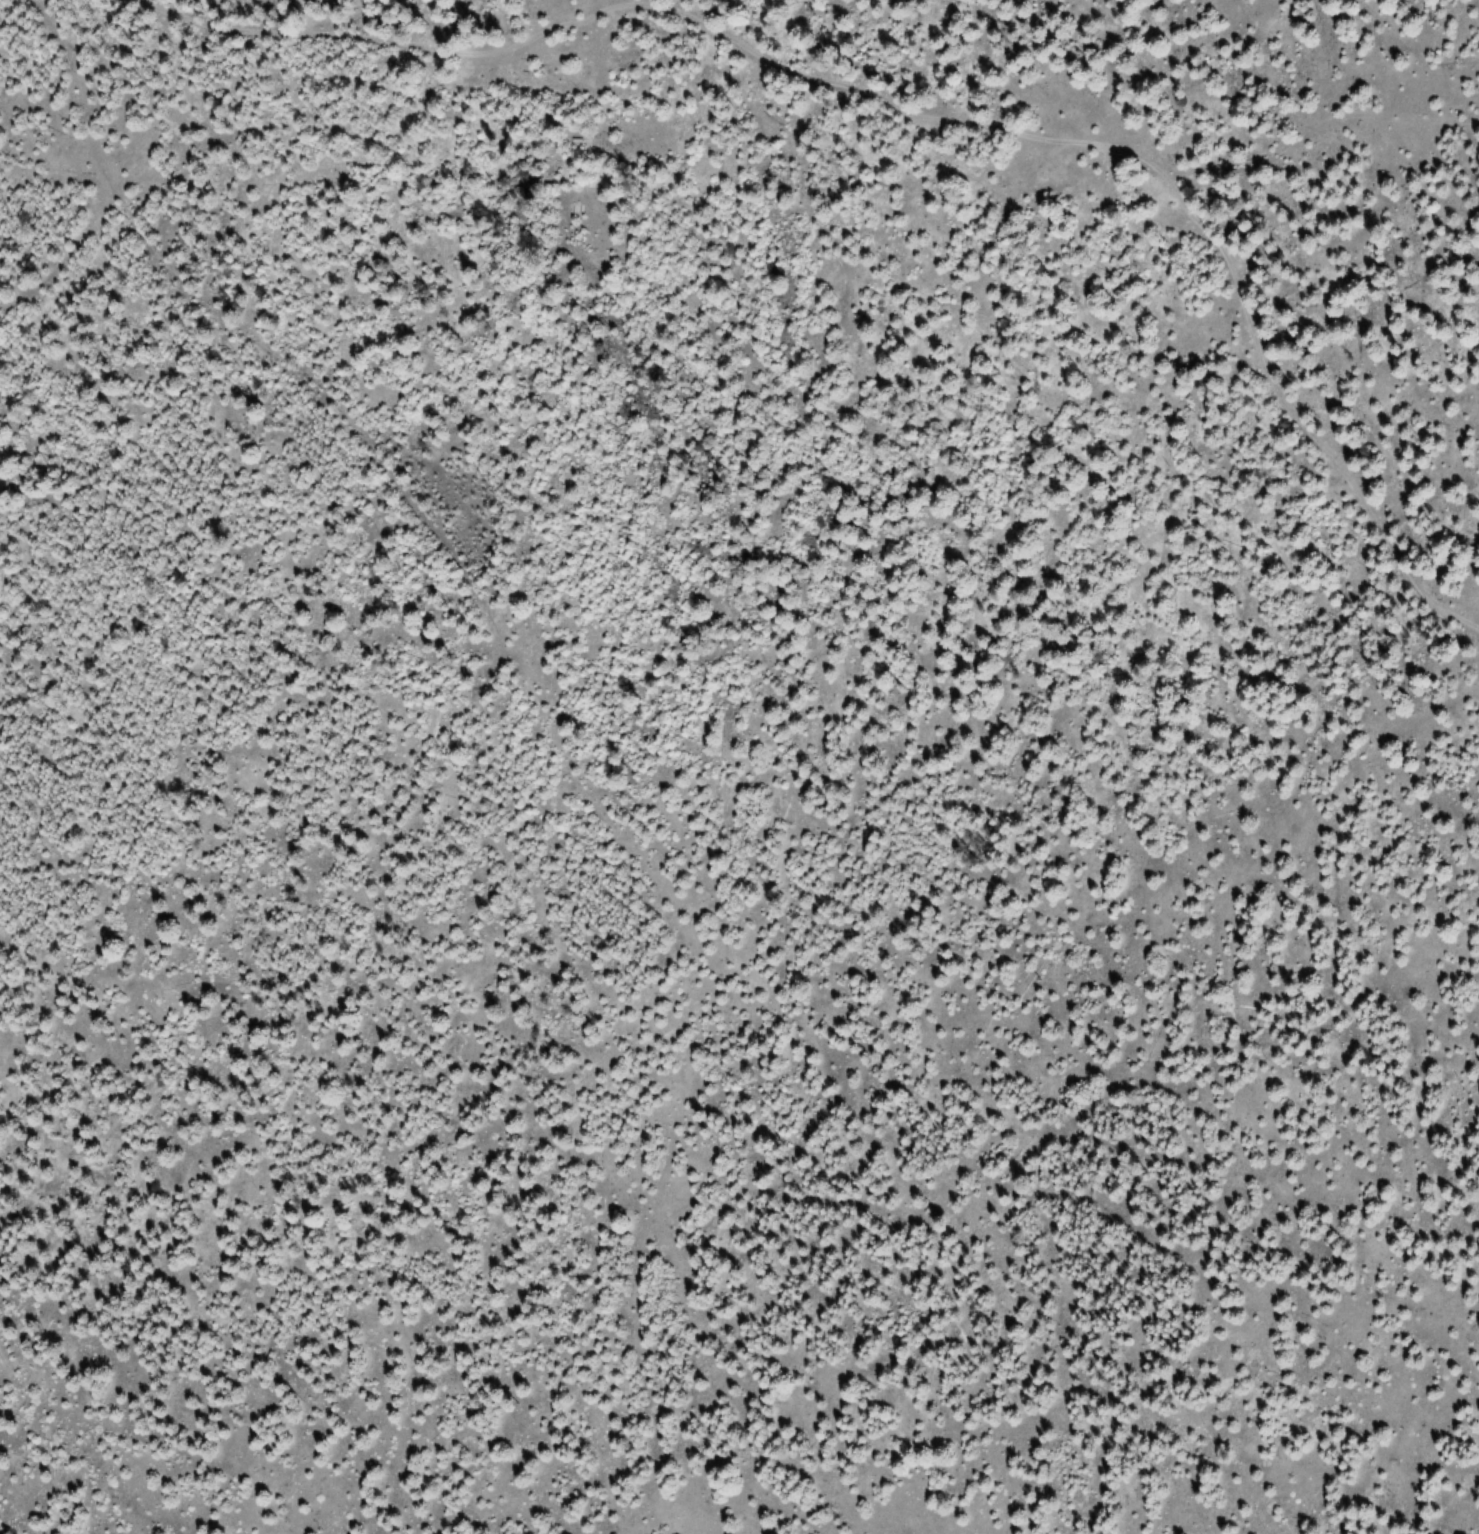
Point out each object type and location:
road: (82, 96)
road: (922, 116)
road: (1316, 126)

